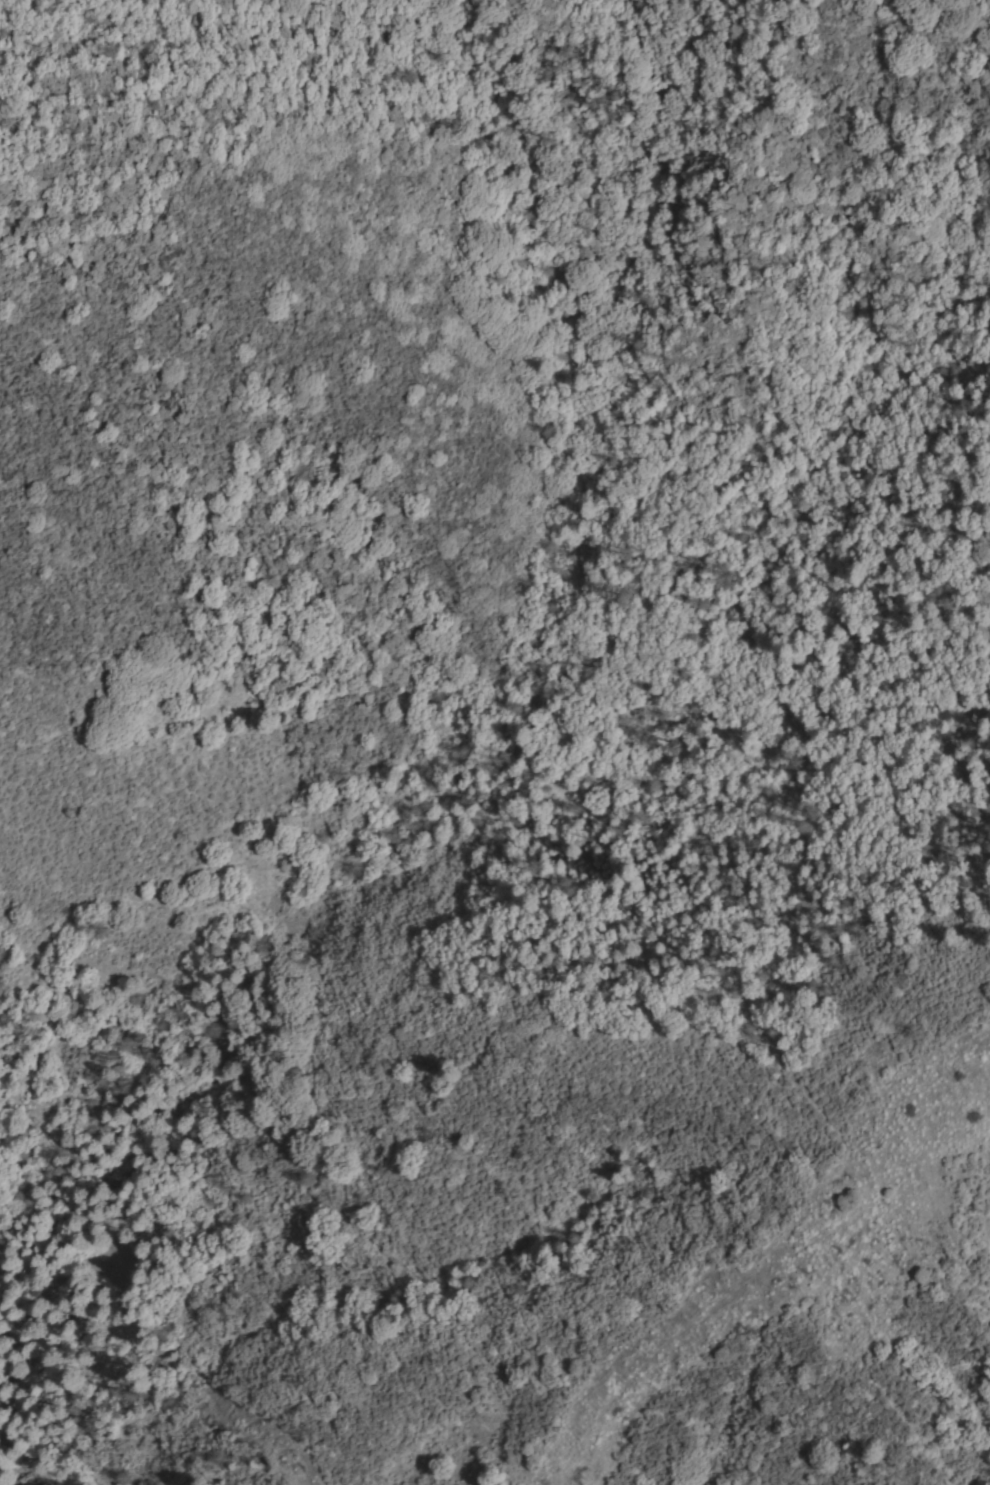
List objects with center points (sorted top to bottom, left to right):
road: (122, 1161)
building: (29, 1484)

